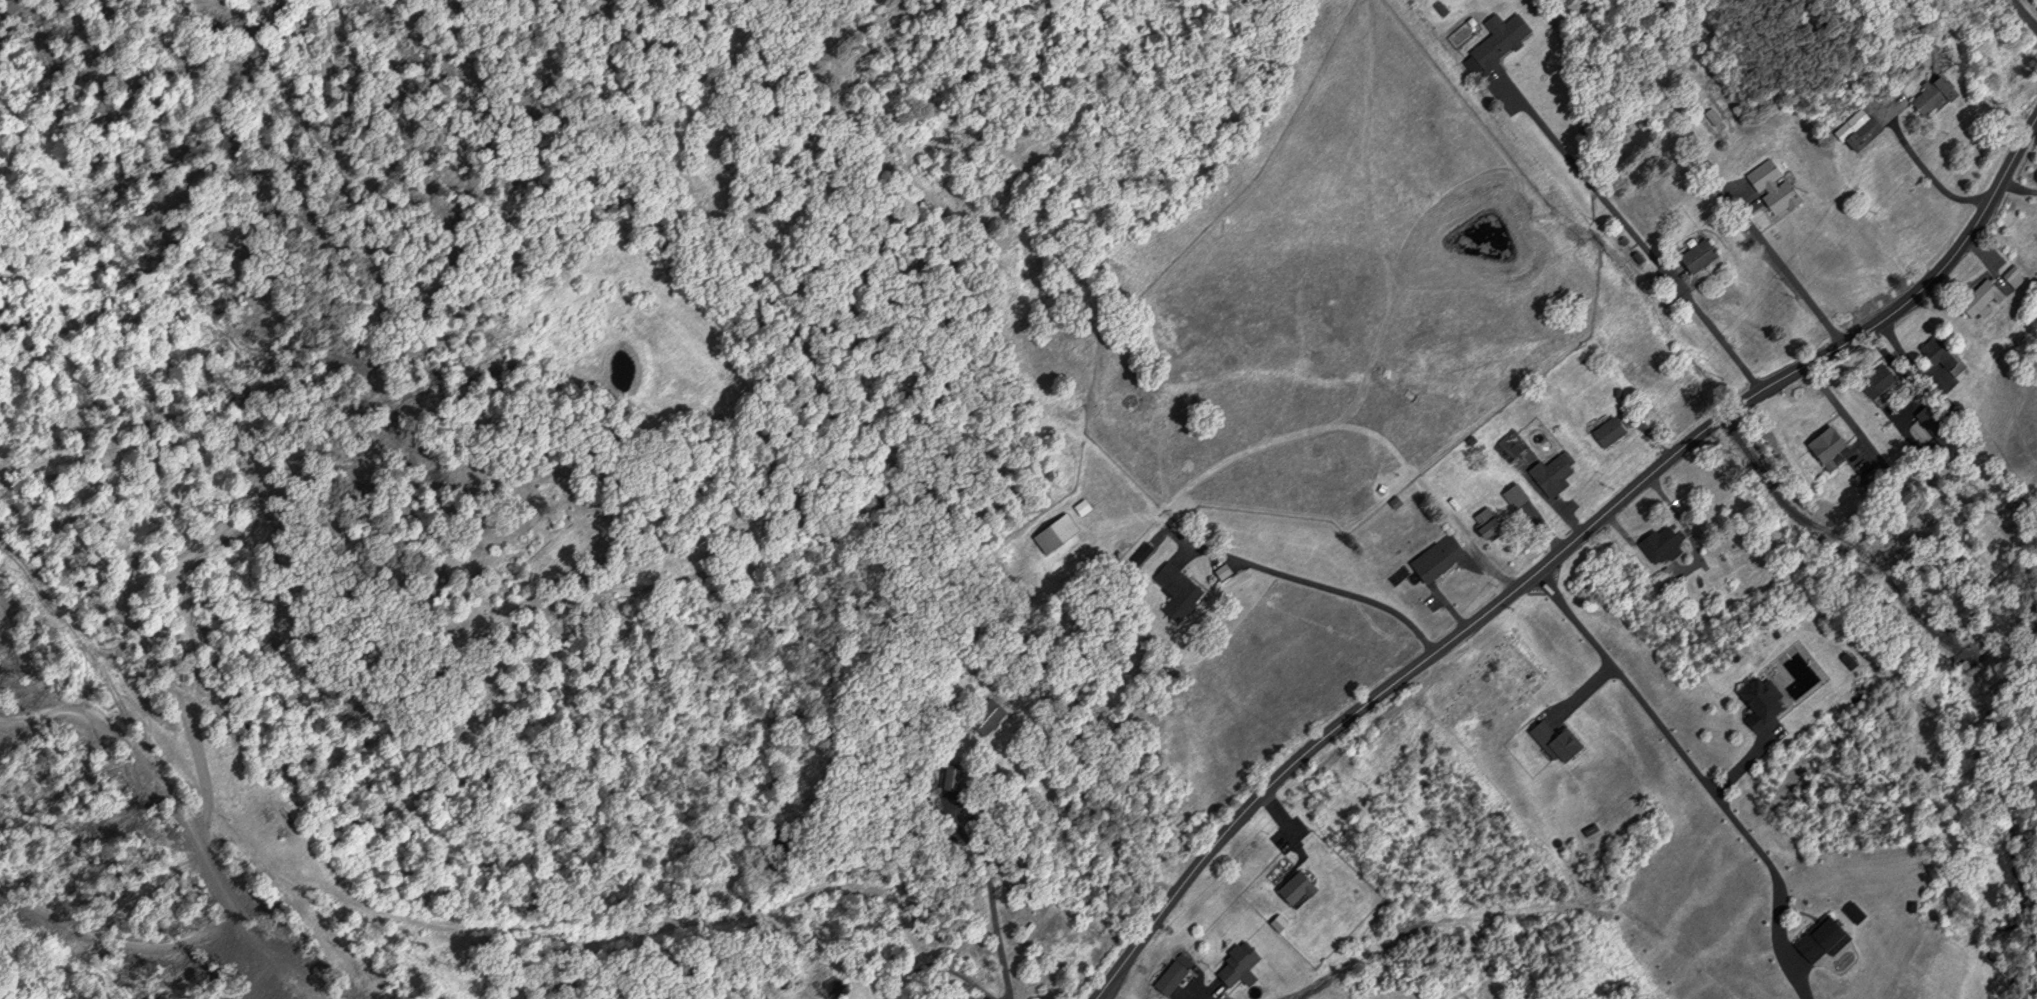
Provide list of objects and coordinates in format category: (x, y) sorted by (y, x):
road: (2023, 13)
building: (1502, 40)
building: (1939, 95)
building: (1876, 125)
building: (1775, 187)
road: (1631, 232)
building: (1701, 255)
building: (2016, 275)
building: (1984, 297)
building: (1940, 350)
building: (1880, 380)
building: (1939, 424)
building: (1611, 431)
building: (1832, 442)
building: (1555, 474)
building: (1517, 495)
building: (1491, 523)
building: (1058, 533)
building: (1663, 545)
road: (1561, 550)
building: (1440, 557)
building: (1179, 590)
road: (1341, 591)
building: (1852, 662)
road: (1587, 687)
building: (989, 715)
building: (1561, 741)
road: (1697, 774)
building: (956, 777)
road: (1277, 807)
building: (1299, 887)
road: (991, 905)
building: (1856, 912)
building: (1826, 938)
building: (1243, 965)
building: (1172, 977)
road: (1212, 993)

